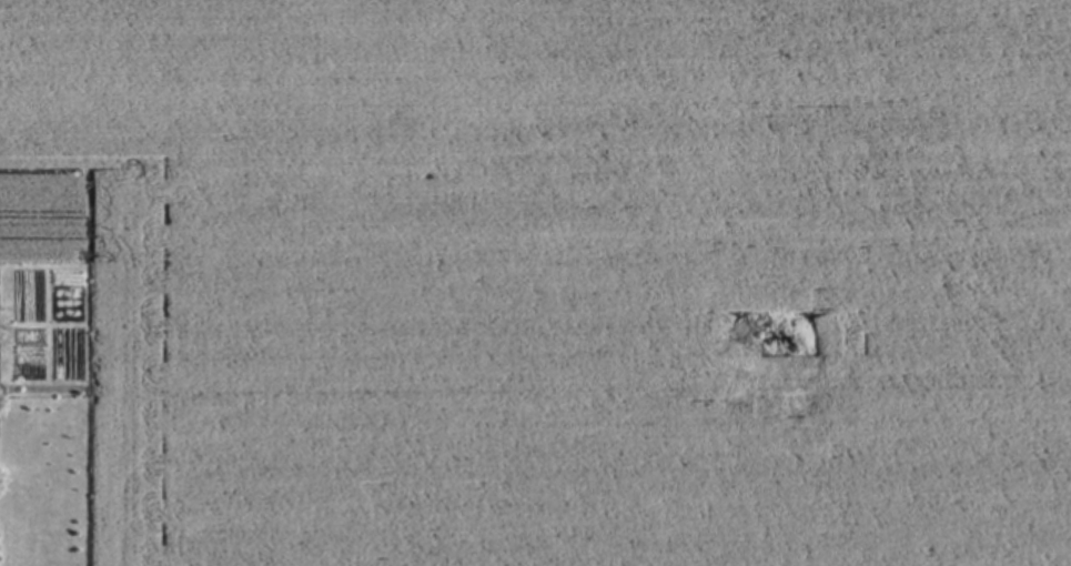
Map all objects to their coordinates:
crop: (535, 283)

